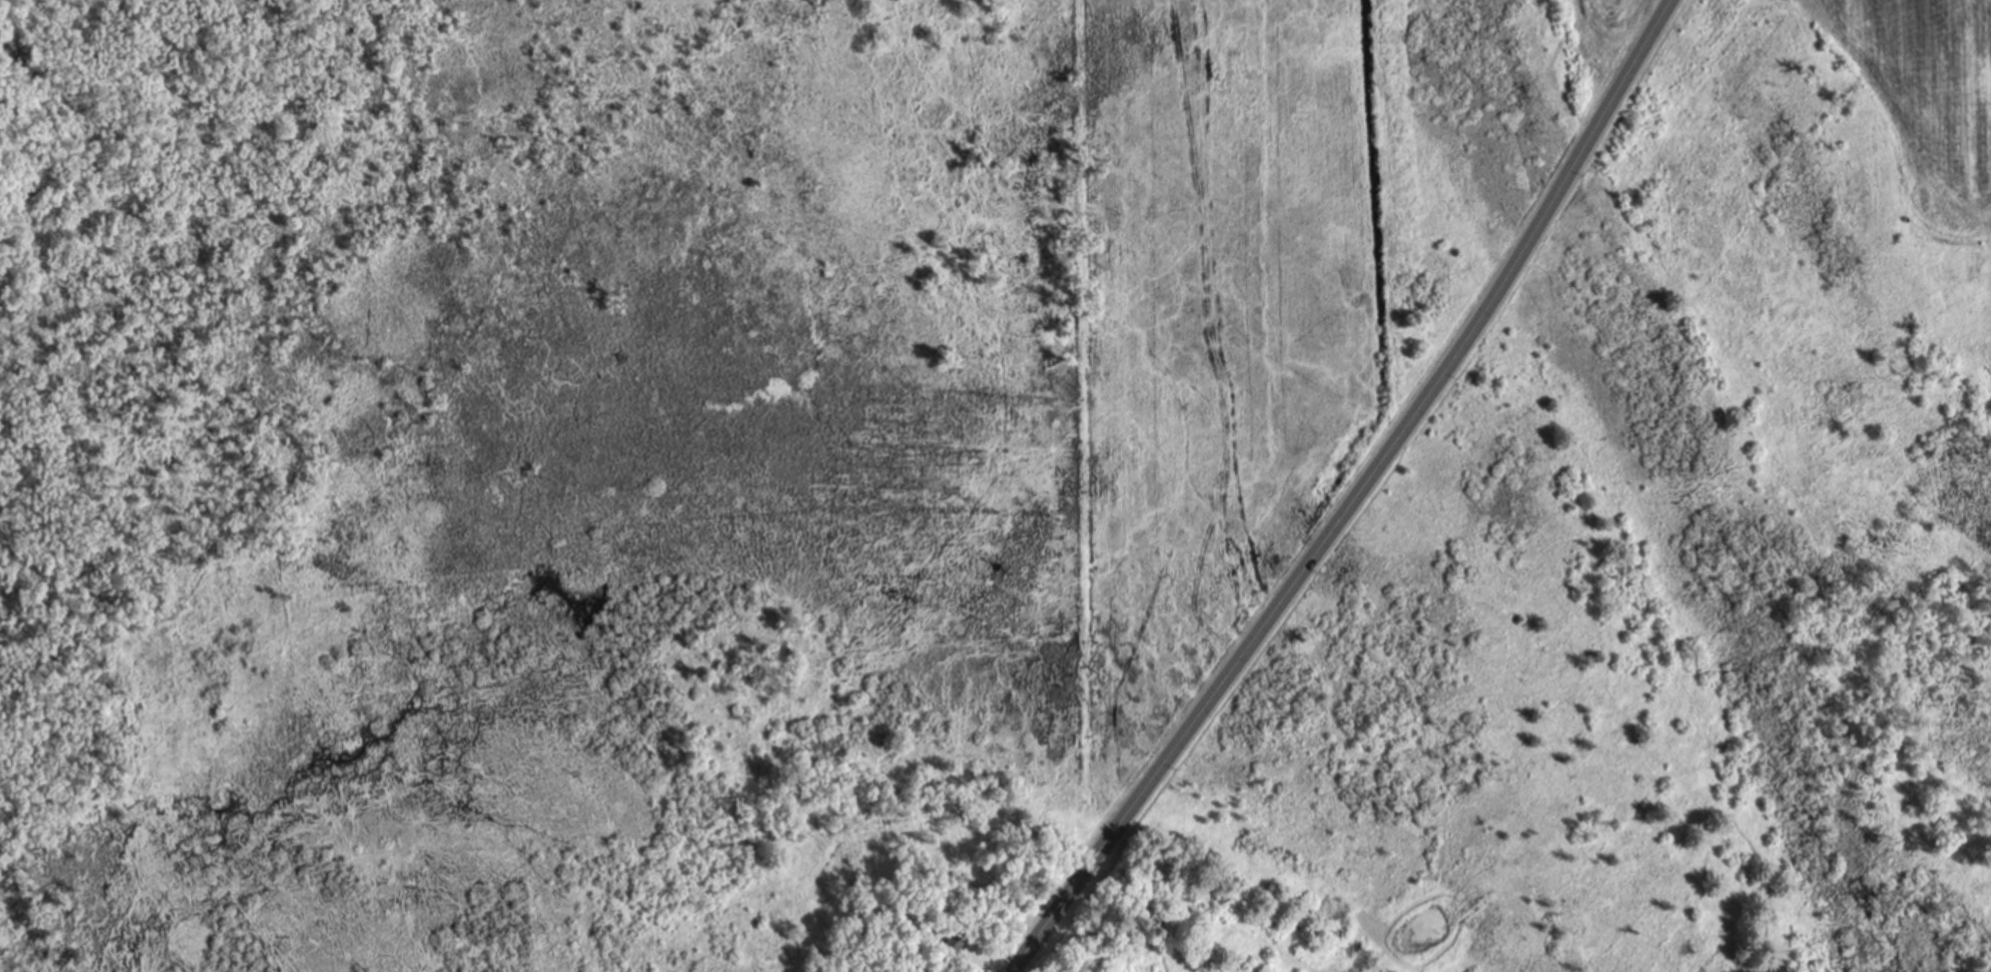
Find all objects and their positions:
road: (1359, 496)

